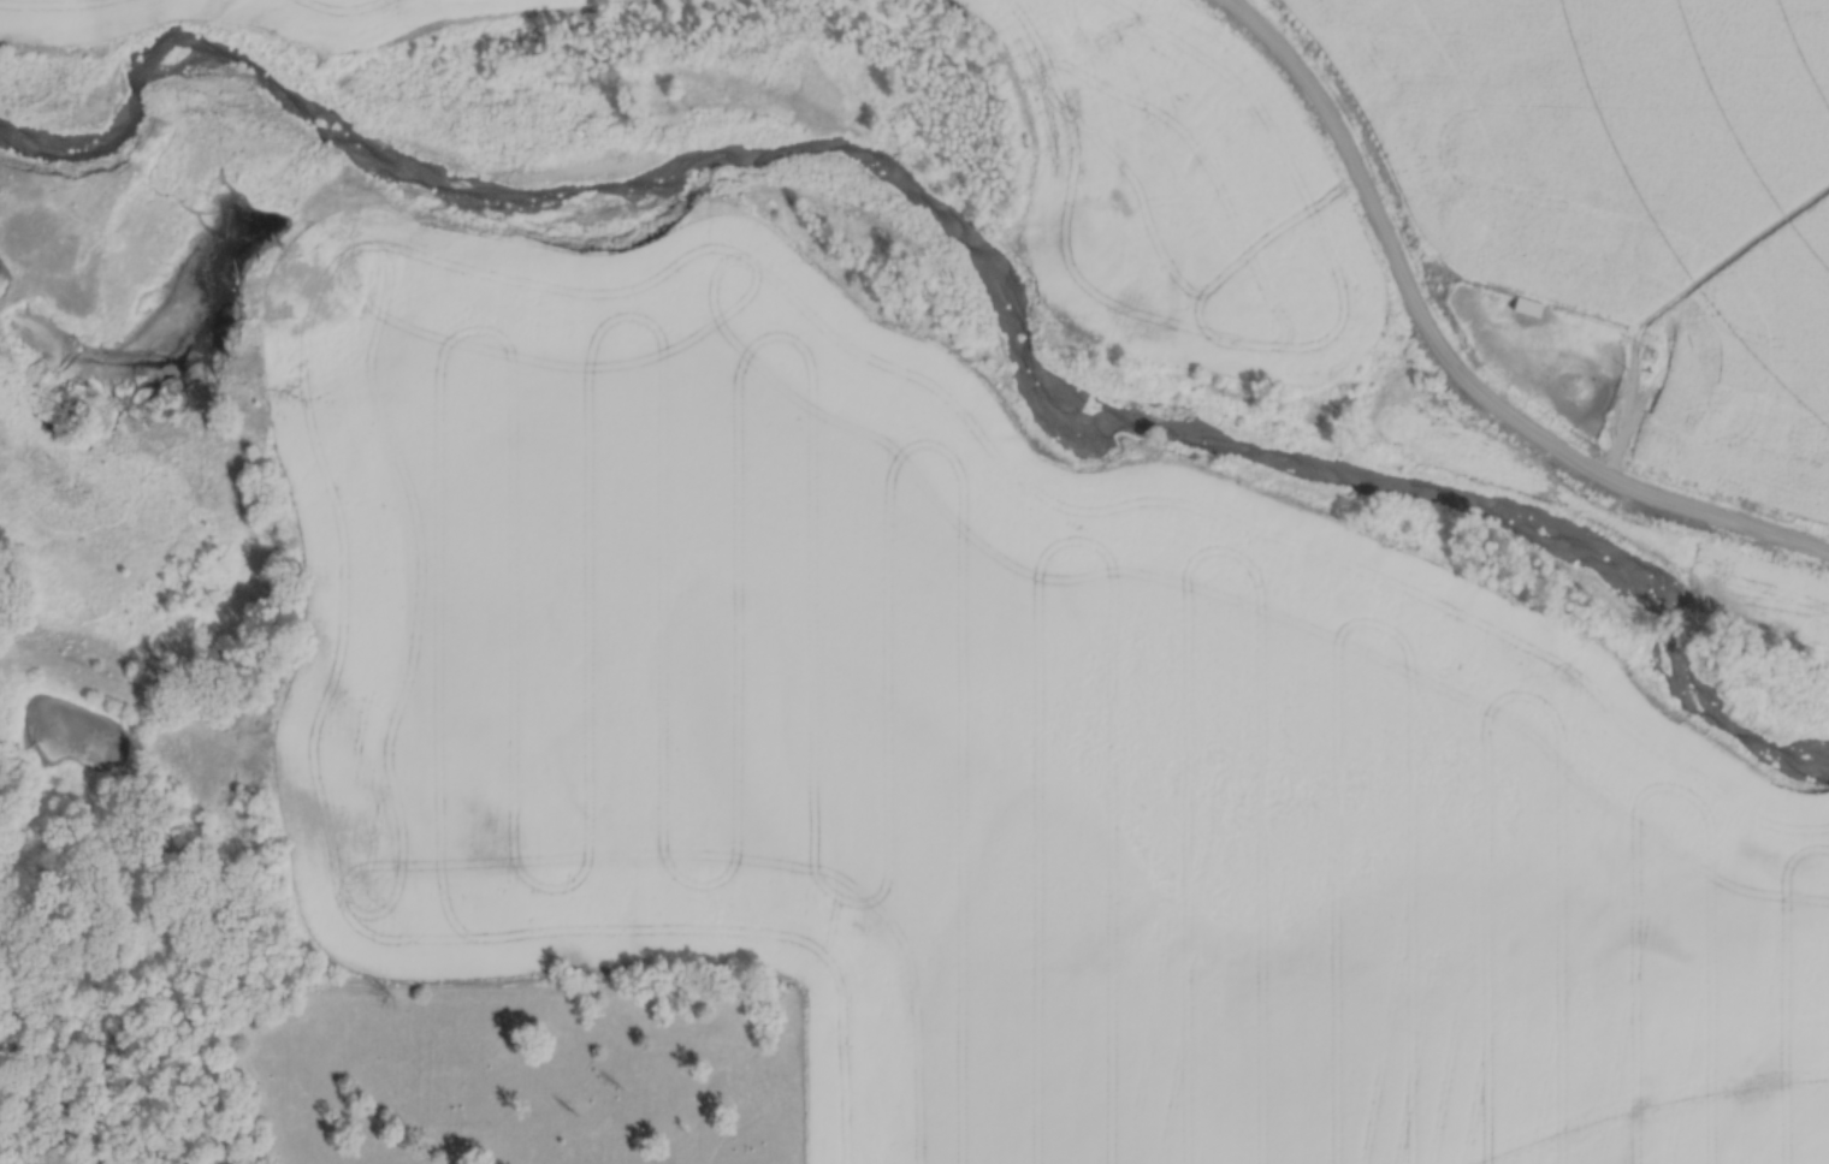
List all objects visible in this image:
building: (1587, 168)
building: (1636, 179)
building: (1682, 265)
building: (1584, 291)
building: (1472, 292)
road: (1449, 361)
road: (1638, 387)

